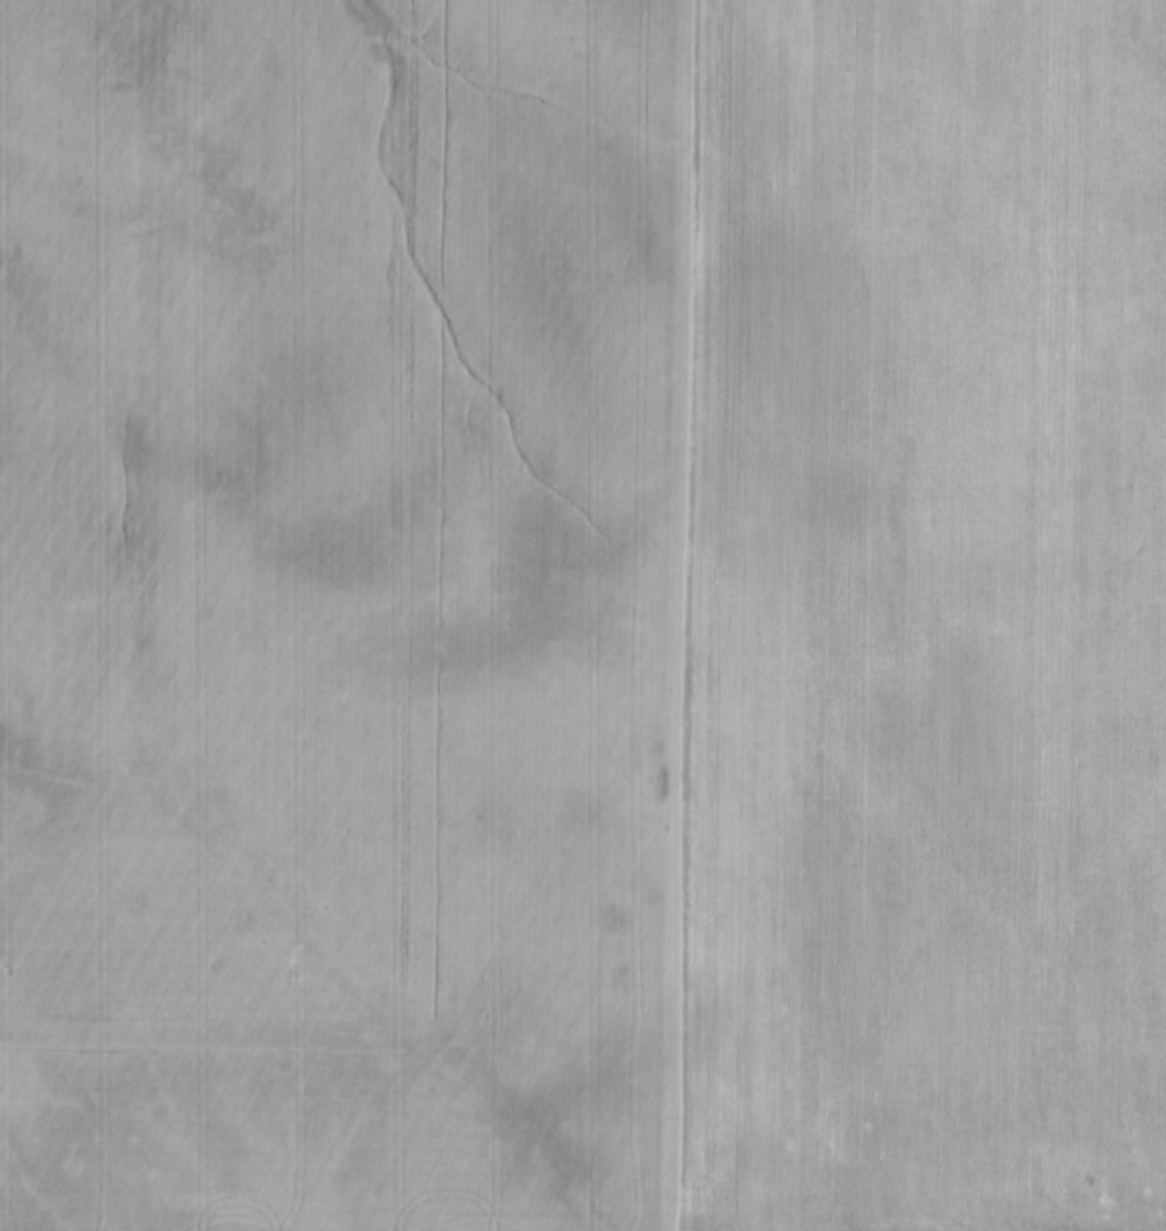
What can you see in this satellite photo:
crop: (583, 615)

